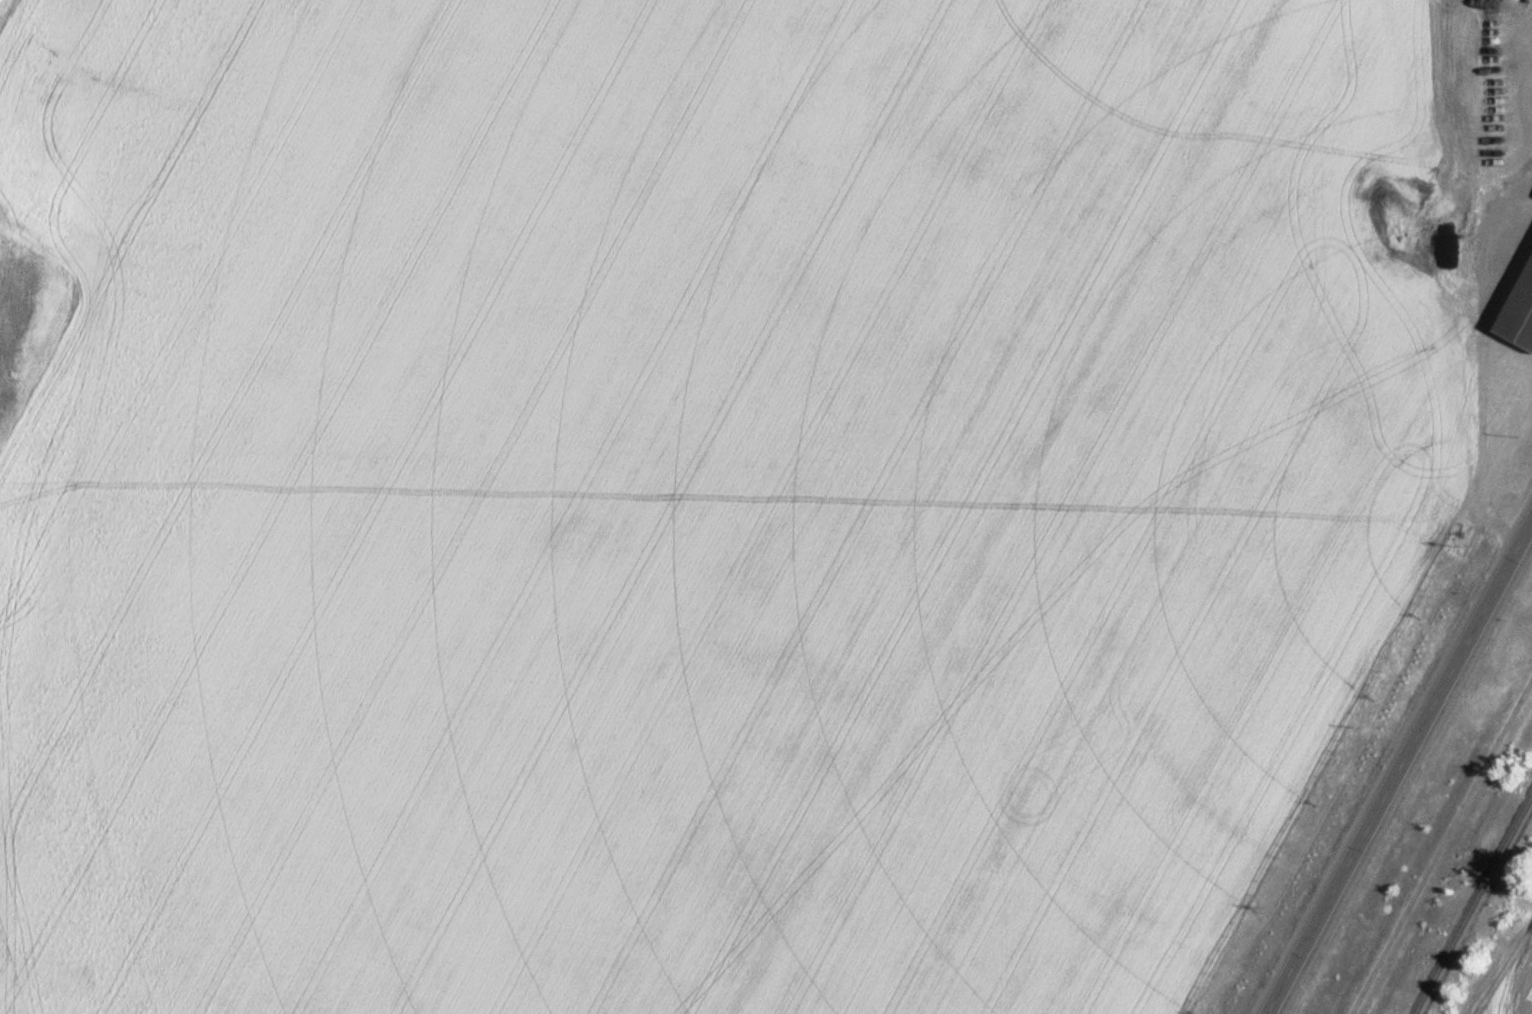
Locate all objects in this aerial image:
building: (1519, 309)
road: (1398, 766)
road: (1439, 843)
railway: (1472, 904)
road: (1502, 959)

